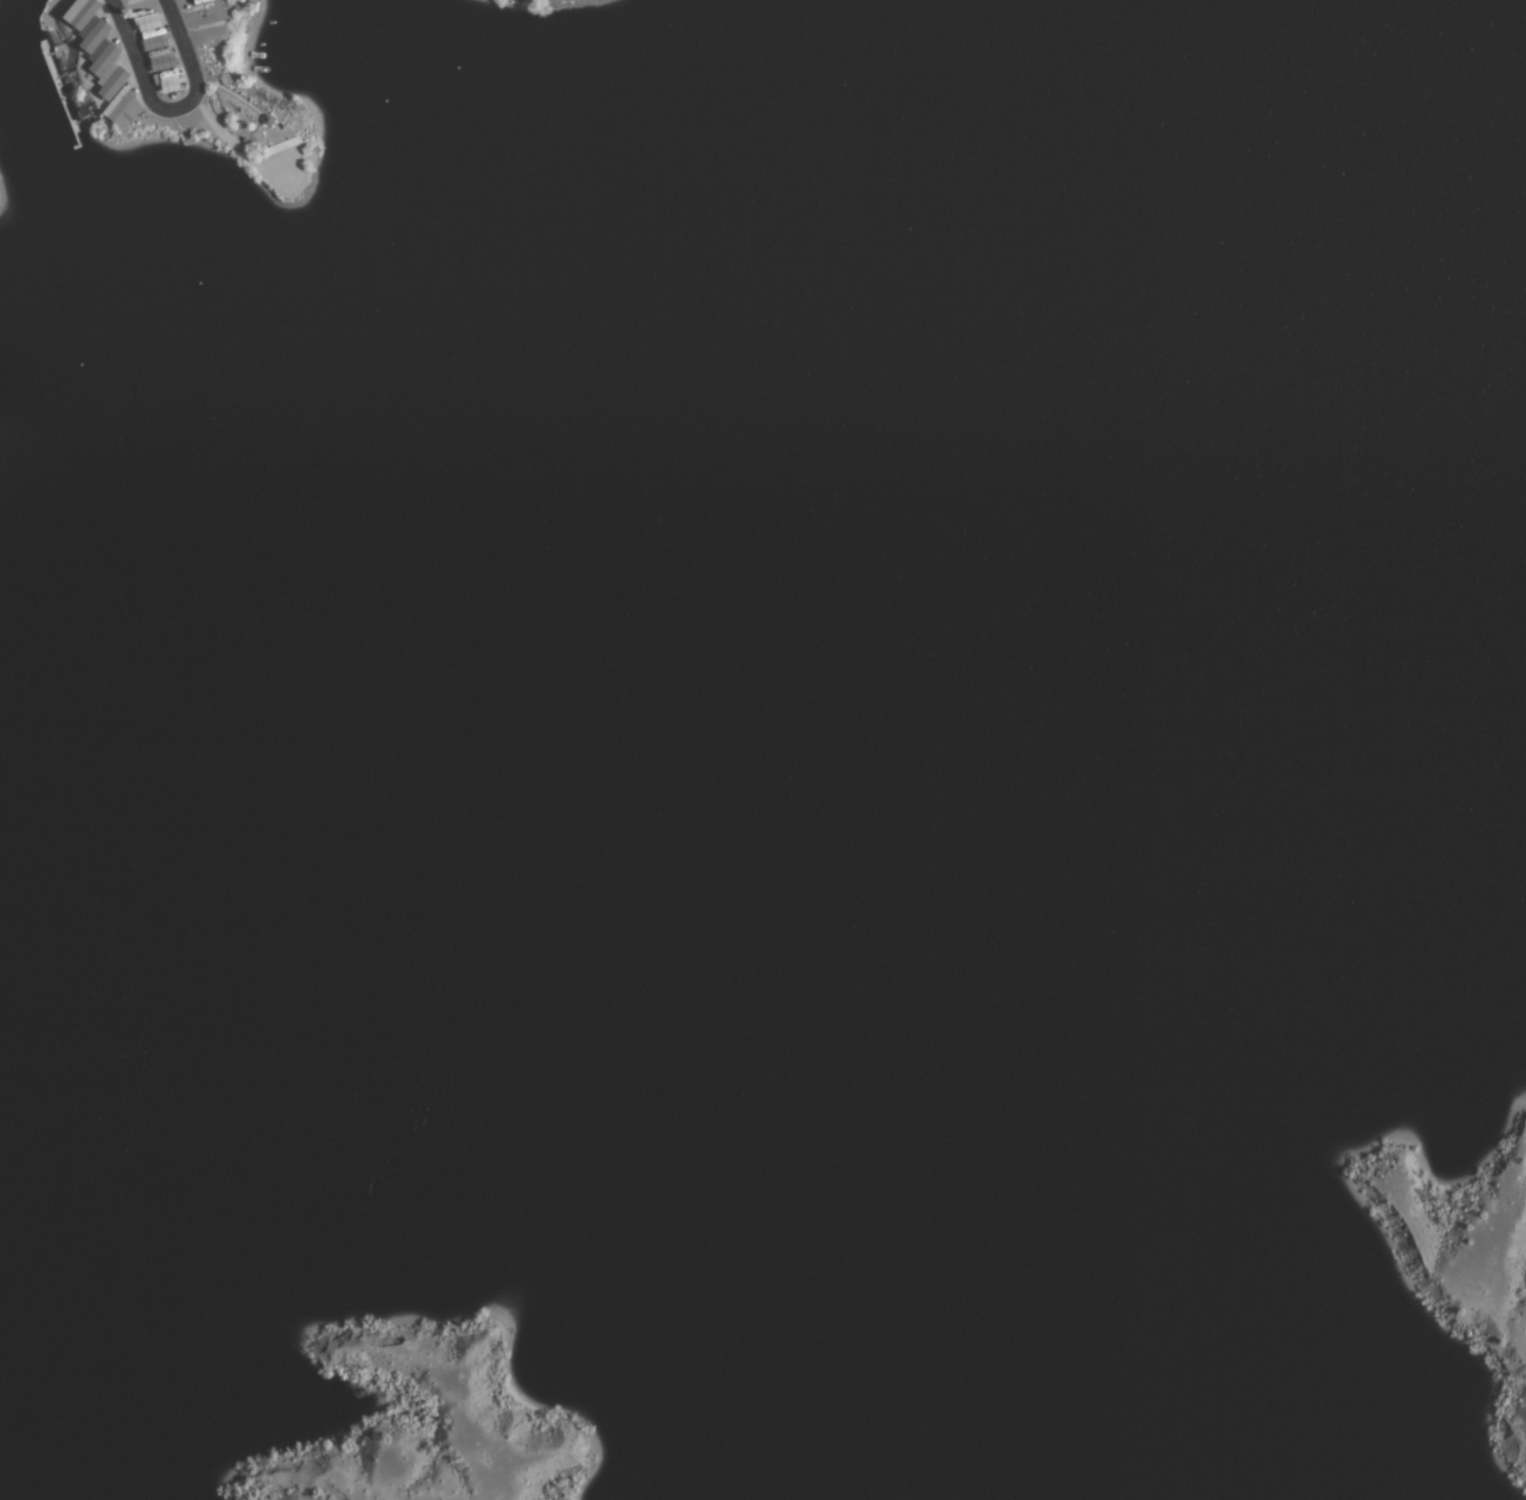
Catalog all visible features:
building: (123, 110)
road: (169, 111)
river: (763, 791)

